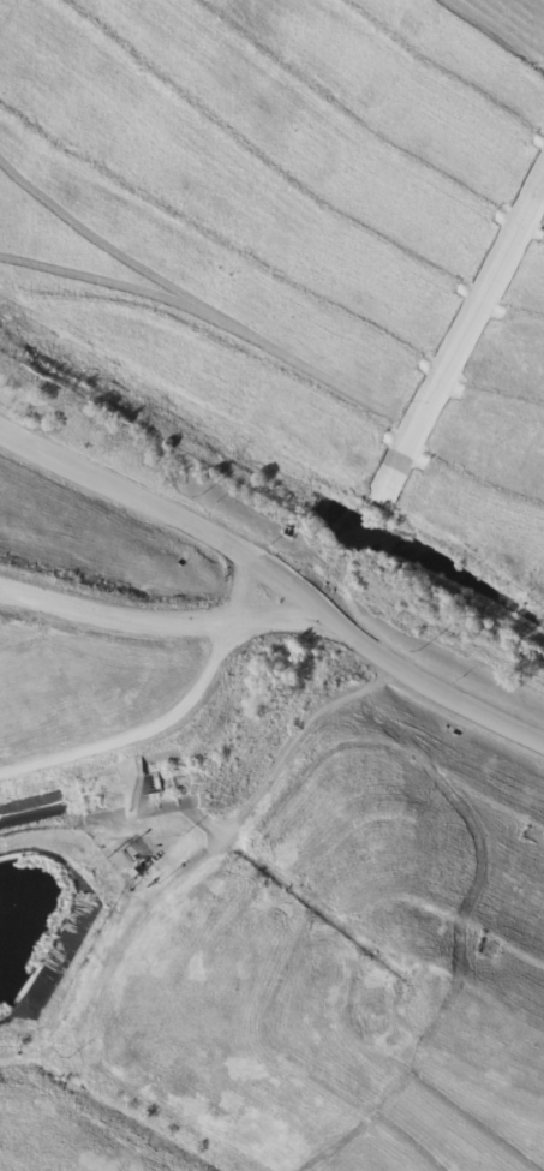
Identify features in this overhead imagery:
landfill: (303, 233)
road: (269, 554)
landfill: (98, 611)
road: (174, 711)
building: (126, 873)
building: (137, 874)
landfill: (291, 960)

